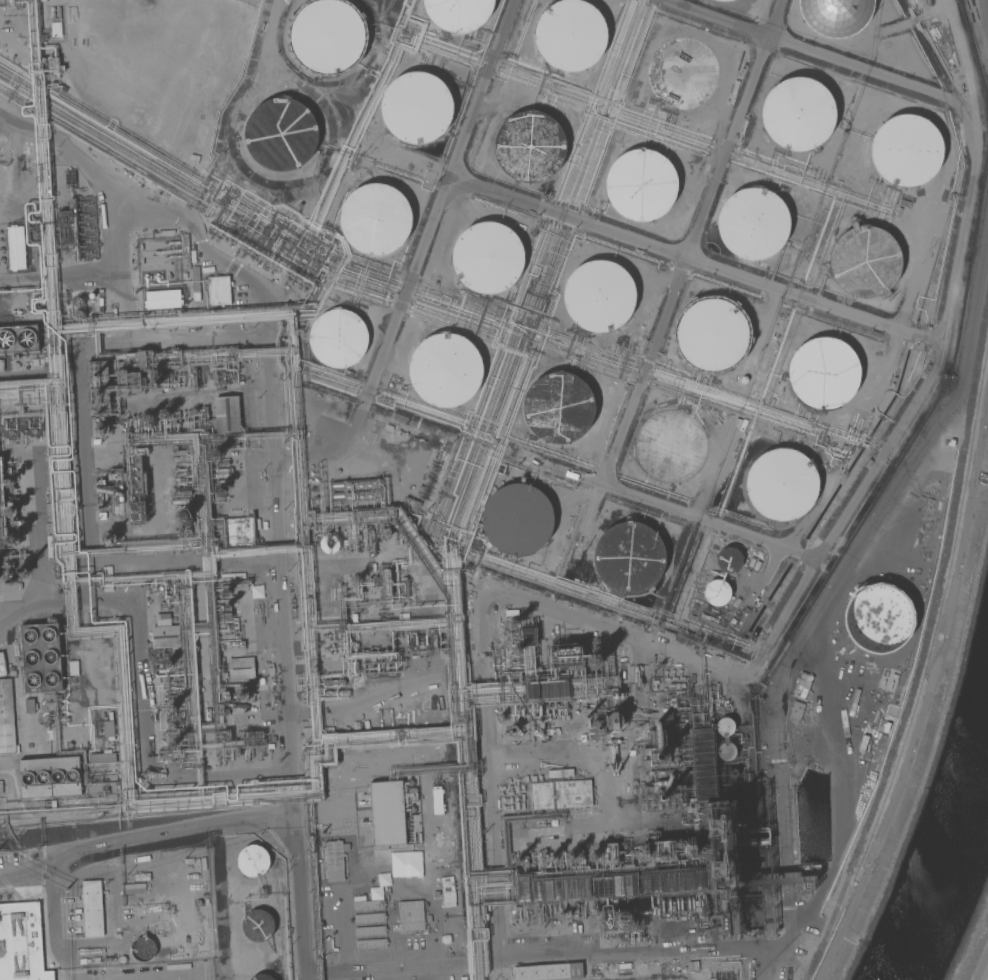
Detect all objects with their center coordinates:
building: (726, 0)
building: (11, 2)
building: (459, 14)
building: (835, 16)
road: (713, 19)
building: (327, 36)
building: (569, 37)
building: (207, 50)
building: (55, 65)
building: (680, 72)
road: (966, 75)
building: (417, 107)
building: (800, 114)
building: (277, 134)
building: (194, 137)
building: (531, 145)
building: (910, 151)
building: (641, 183)
building: (375, 220)
building: (751, 223)
building: (16, 248)
building: (185, 251)
building: (487, 255)
road: (419, 257)
building: (864, 260)
road: (694, 261)
road: (100, 272)
building: (144, 290)
building: (219, 290)
road: (950, 290)
building: (599, 295)
building: (91, 296)
building: (78, 314)
road: (657, 330)
building: (711, 334)
building: (18, 338)
building: (338, 339)
building: (130, 353)
building: (35, 362)
building: (41, 362)
building: (1, 365)
building: (14, 365)
building: (446, 373)
building: (825, 375)
building: (134, 378)
building: (194, 379)
building: (164, 383)
building: (97, 386)
road: (272, 393)
building: (555, 406)
building: (227, 414)
building: (165, 415)
building: (21, 429)
building: (102, 429)
building: (671, 447)
building: (179, 452)
building: (138, 468)
building: (221, 470)
building: (222, 475)
building: (8, 482)
building: (356, 483)
building: (779, 484)
building: (119, 492)
building: (182, 493)
building: (219, 493)
building: (357, 495)
building: (0, 497)
building: (11, 500)
building: (180, 501)
building: (411, 502)
building: (10, 512)
building: (182, 518)
building: (516, 519)
building: (11, 523)
building: (1, 524)
building: (240, 532)
building: (385, 533)
building: (108, 537)
building: (12, 539)
building: (370, 542)
building: (329, 544)
road: (37, 555)
building: (629, 560)
building: (727, 560)
building: (8, 570)
building: (23, 570)
building: (107, 578)
building: (403, 587)
building: (715, 592)
building: (169, 596)
building: (511, 612)
building: (403, 616)
building: (877, 617)
building: (162, 619)
building: (165, 636)
building: (527, 637)
railway: (924, 651)
building: (8, 654)
building: (565, 655)
building: (41, 657)
building: (168, 663)
building: (313, 665)
building: (72, 667)
building: (240, 668)
building: (354, 668)
building: (166, 670)
building: (332, 683)
road: (926, 685)
building: (547, 689)
building: (335, 693)
building: (241, 694)
building: (225, 695)
building: (265, 702)
building: (29, 705)
building: (171, 708)
road: (141, 709)
building: (563, 709)
building: (540, 710)
building: (545, 710)
building: (552, 710)
building: (558, 710)
building: (796, 711)
building: (436, 712)
building: (528, 712)
building: (500, 717)
building: (6, 718)
building: (616, 721)
building: (415, 722)
building: (355, 725)
building: (724, 726)
building: (108, 728)
building: (174, 734)
building: (272, 739)
building: (269, 746)
building: (172, 749)
building: (726, 751)
building: (660, 756)
building: (102, 757)
building: (703, 765)
building: (559, 772)
building: (50, 776)
building: (512, 787)
building: (1, 788)
building: (561, 794)
building: (661, 796)
building: (437, 800)
building: (48, 803)
building: (386, 813)
building: (582, 813)
road: (143, 841)
building: (691, 848)
building: (664, 850)
building: (721, 850)
building: (644, 852)
building: (610, 854)
building: (568, 856)
building: (592, 856)
building: (551, 858)
building: (517, 859)
building: (252, 860)
building: (335, 860)
building: (809, 874)
building: (141, 877)
building: (672, 882)
building: (613, 886)
building: (522, 889)
building: (560, 889)
building: (447, 891)
building: (436, 894)
building: (368, 904)
building: (662, 904)
building: (676, 904)
building: (680, 904)
building: (688, 904)
building: (692, 904)
building: (608, 905)
building: (668, 906)
building: (92, 908)
building: (621, 908)
building: (702, 908)
building: (574, 909)
building: (538, 914)
building: (410, 915)
building: (369, 918)
building: (258, 925)
building: (370, 931)
building: (21, 942)
building: (371, 944)
building: (142, 948)
building: (121, 959)
road: (981, 963)
building: (548, 971)
road: (157, 977)
building: (262, 977)
road: (160, 978)

